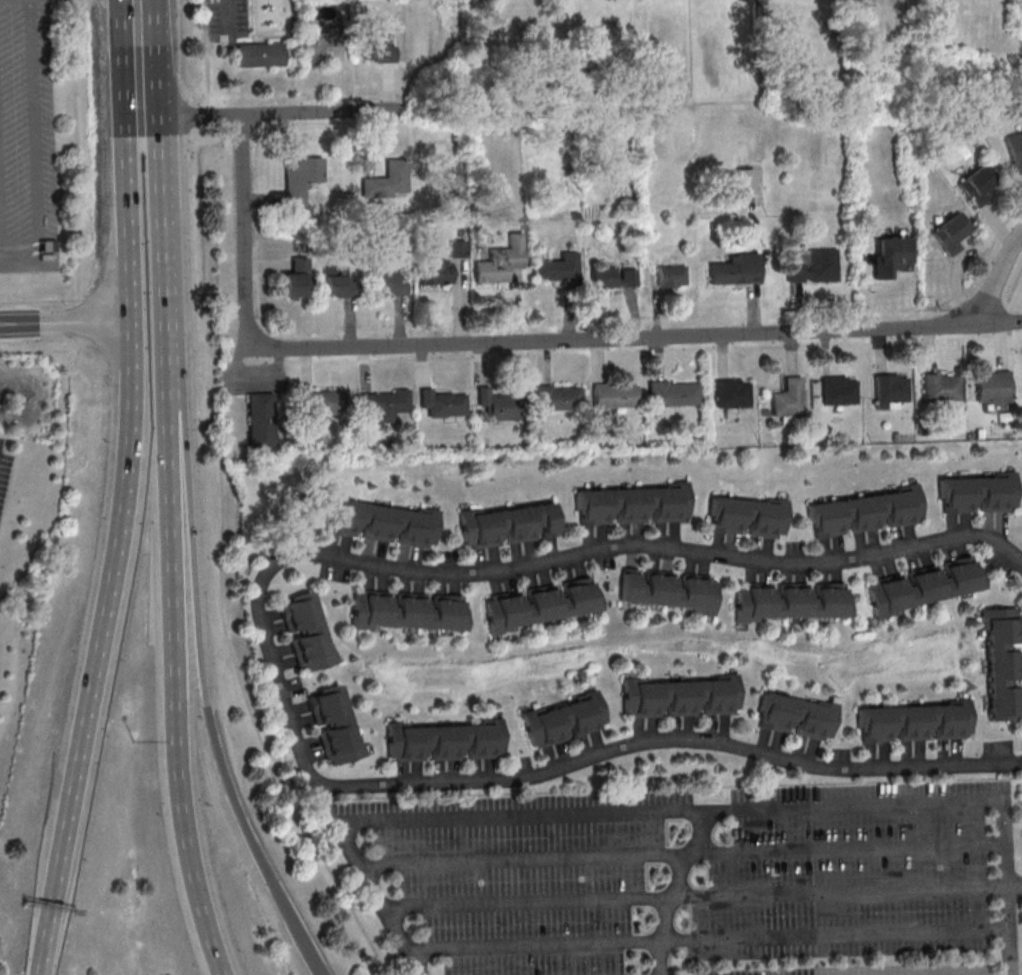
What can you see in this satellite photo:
road: (228, 4)
building: (314, 47)
building: (377, 48)
building: (261, 54)
road: (139, 59)
road: (323, 113)
road: (190, 117)
road: (141, 129)
parking lot: (27, 139)
building: (1015, 151)
building: (298, 181)
building: (388, 181)
building: (744, 181)
building: (976, 184)
road: (77, 189)
road: (244, 225)
road: (153, 229)
road: (137, 230)
building: (950, 233)
building: (48, 246)
building: (890, 255)
building: (500, 261)
building: (814, 267)
building: (555, 272)
building: (737, 272)
building: (433, 273)
building: (671, 276)
building: (613, 278)
building: (296, 279)
building: (389, 283)
building: (338, 284)
road: (66, 323)
road: (997, 324)
road: (660, 338)
building: (939, 387)
building: (992, 387)
building: (890, 388)
building: (838, 391)
building: (675, 394)
building: (614, 396)
building: (736, 397)
building: (555, 399)
building: (787, 399)
building: (383, 403)
building: (318, 405)
building: (443, 405)
building: (496, 405)
building: (259, 421)
building: (978, 494)
building: (632, 504)
building: (863, 512)
building: (746, 517)
building: (380, 523)
building: (507, 525)
road: (191, 544)
building: (922, 586)
building: (667, 590)
building: (789, 602)
building: (538, 605)
building: (406, 612)
building: (306, 632)
road: (102, 634)
road: (175, 637)
road: (267, 646)
building: (1002, 664)
building: (680, 697)
road: (248, 707)
building: (796, 716)
building: (564, 719)
building: (914, 722)
building: (334, 725)
building: (444, 740)
road: (668, 812)
road: (857, 850)
road: (687, 855)
road: (261, 860)
road: (513, 862)
road: (364, 870)
road: (1013, 882)
road: (1005, 887)
road: (850, 889)
road: (673, 890)
road: (669, 897)
road: (526, 904)
road: (397, 909)
road: (848, 933)
road: (674, 939)
road: (644, 941)
road: (531, 946)
road: (422, 951)
road: (39, 960)
road: (315, 961)
road: (217, 964)
road: (218, 964)

